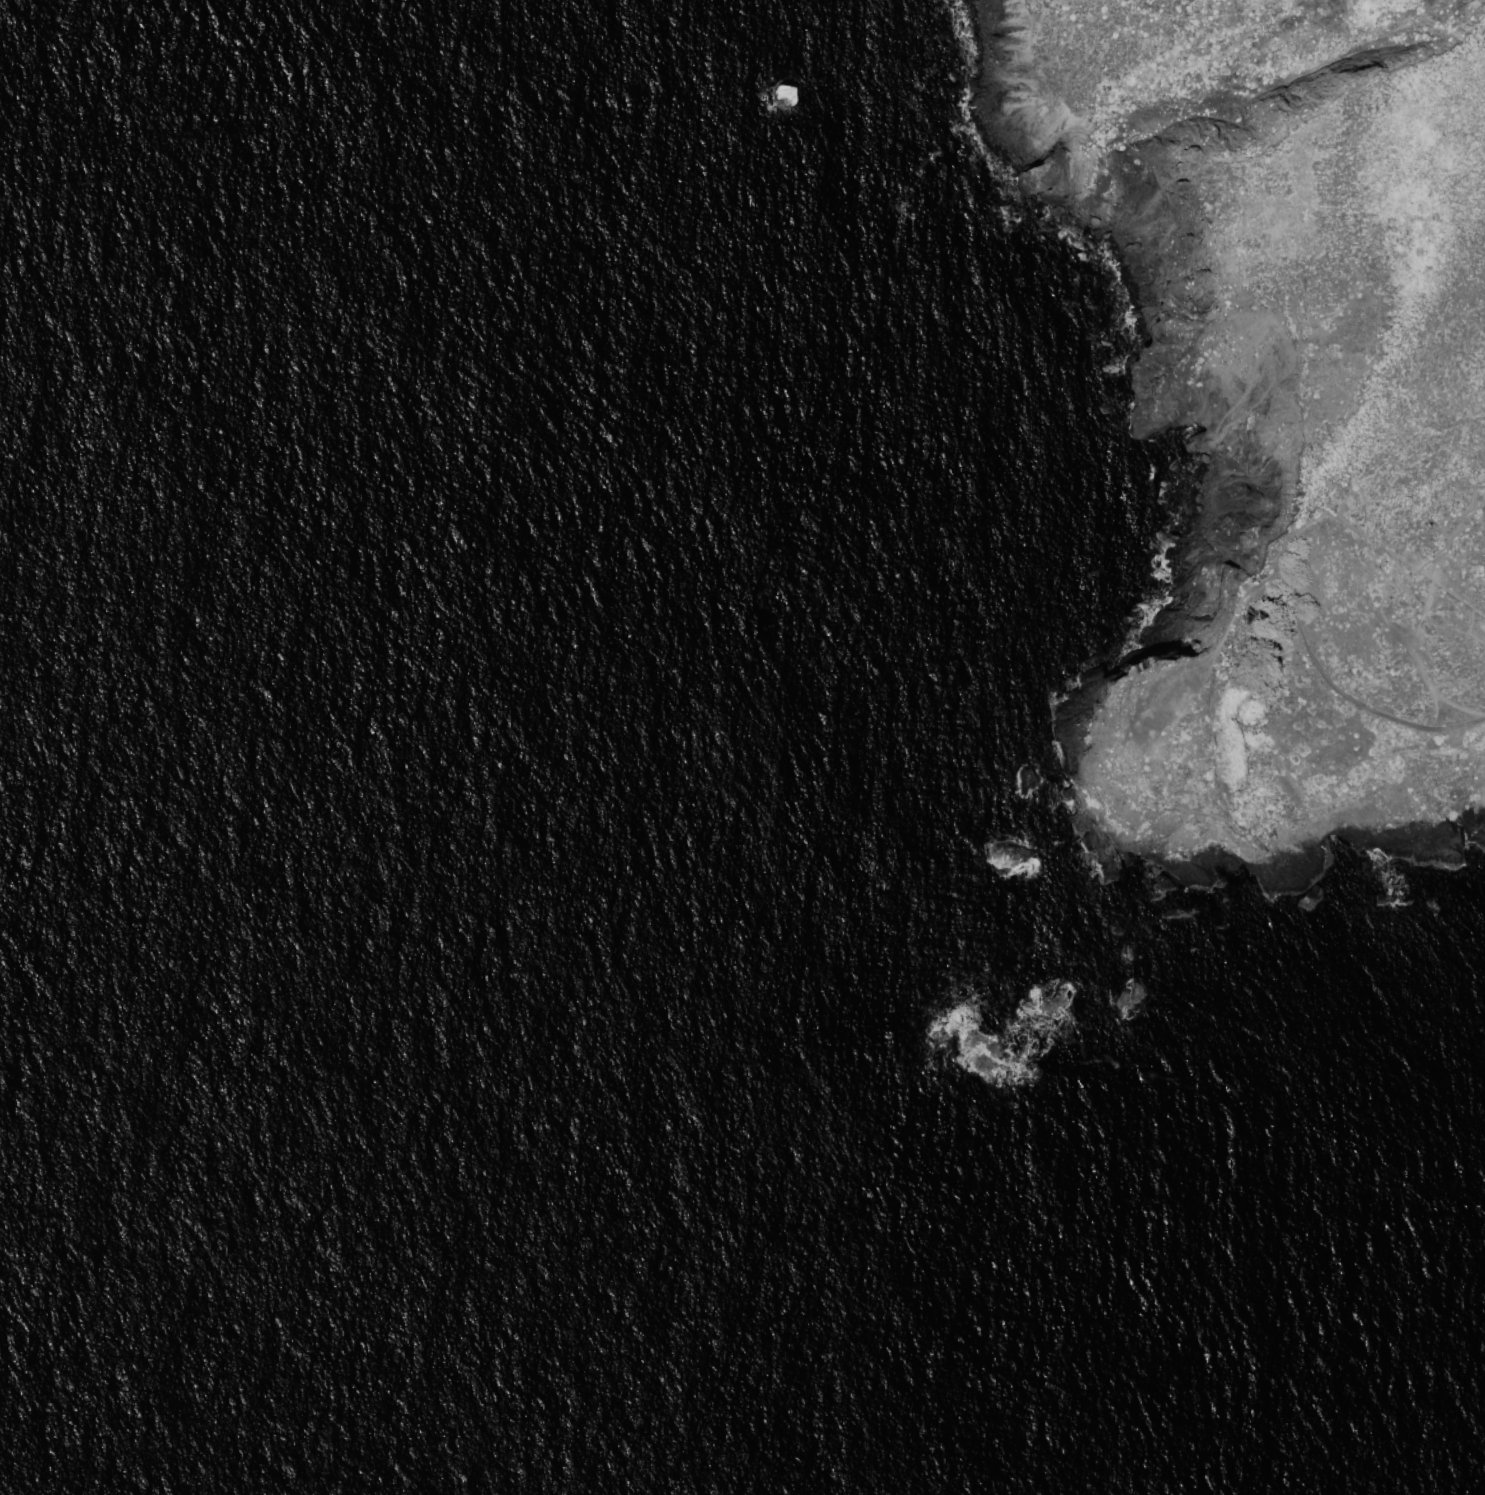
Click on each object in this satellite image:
road: (1223, 630)
road: (1346, 696)

